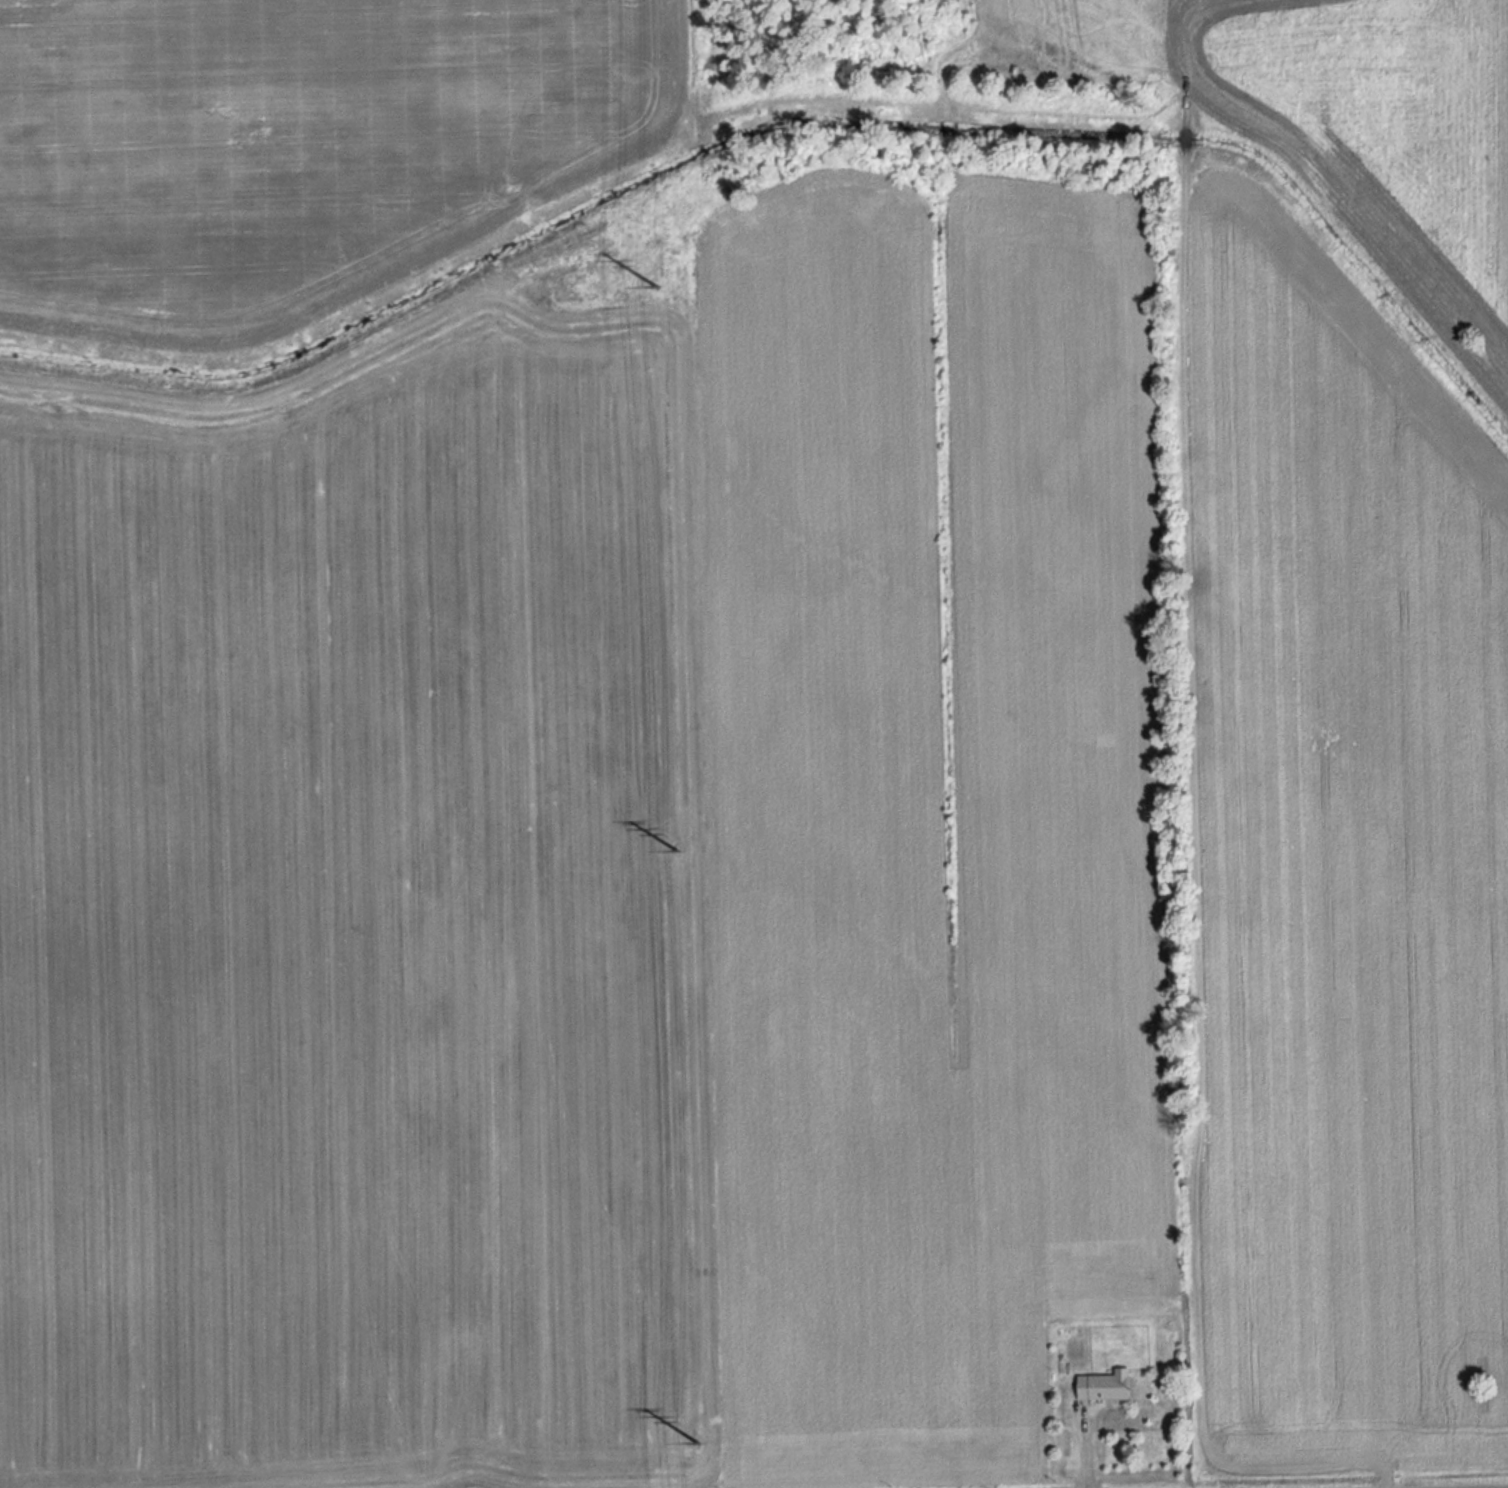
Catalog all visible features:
power tower: (654, 281)
power tower: (677, 845)
building: (1102, 1384)
power tower: (694, 1434)

